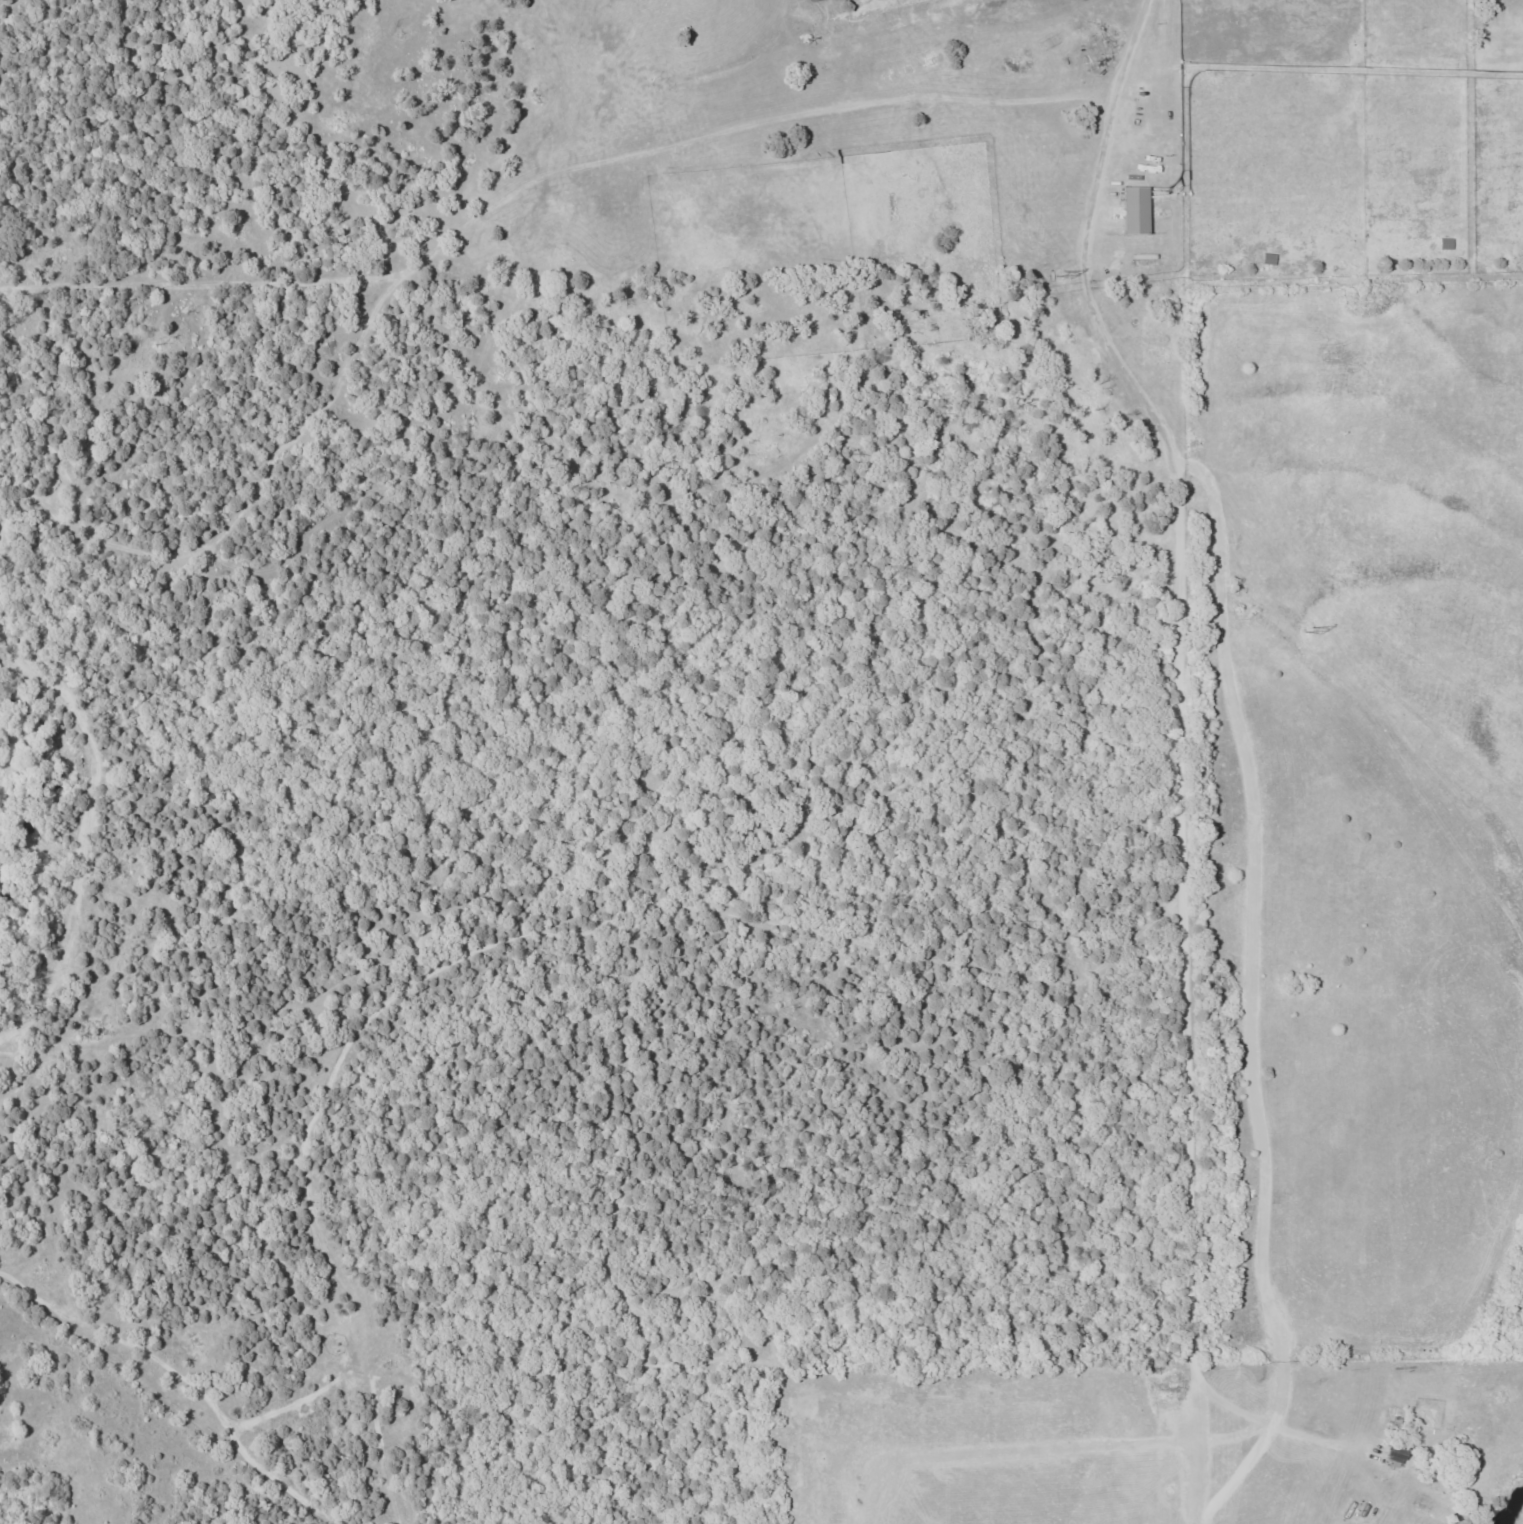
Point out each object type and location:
building: (1135, 210)
power tower: (1065, 275)
power tower: (1309, 626)
road: (1184, 743)
road: (1270, 1421)
road: (1197, 1519)

